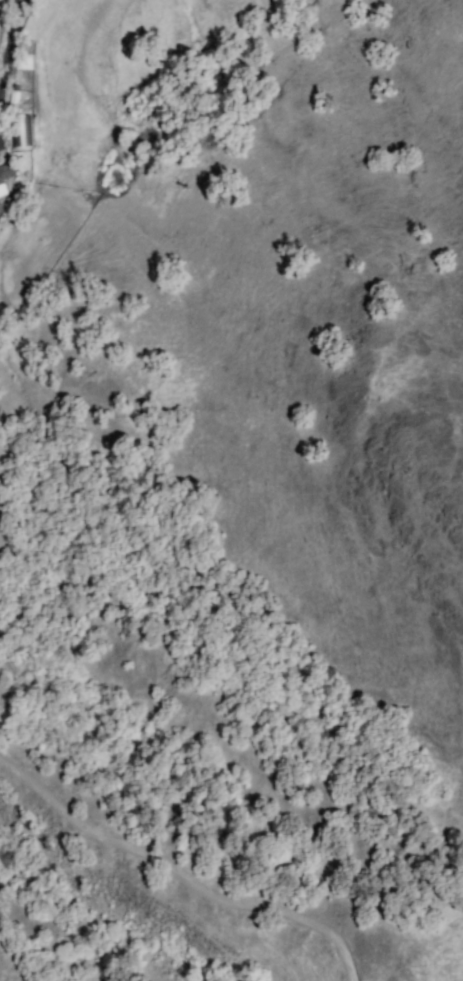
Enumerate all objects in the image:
crop: (7, 19)
road: (13, 43)
building: (21, 130)
building: (6, 178)
building: (1, 211)

